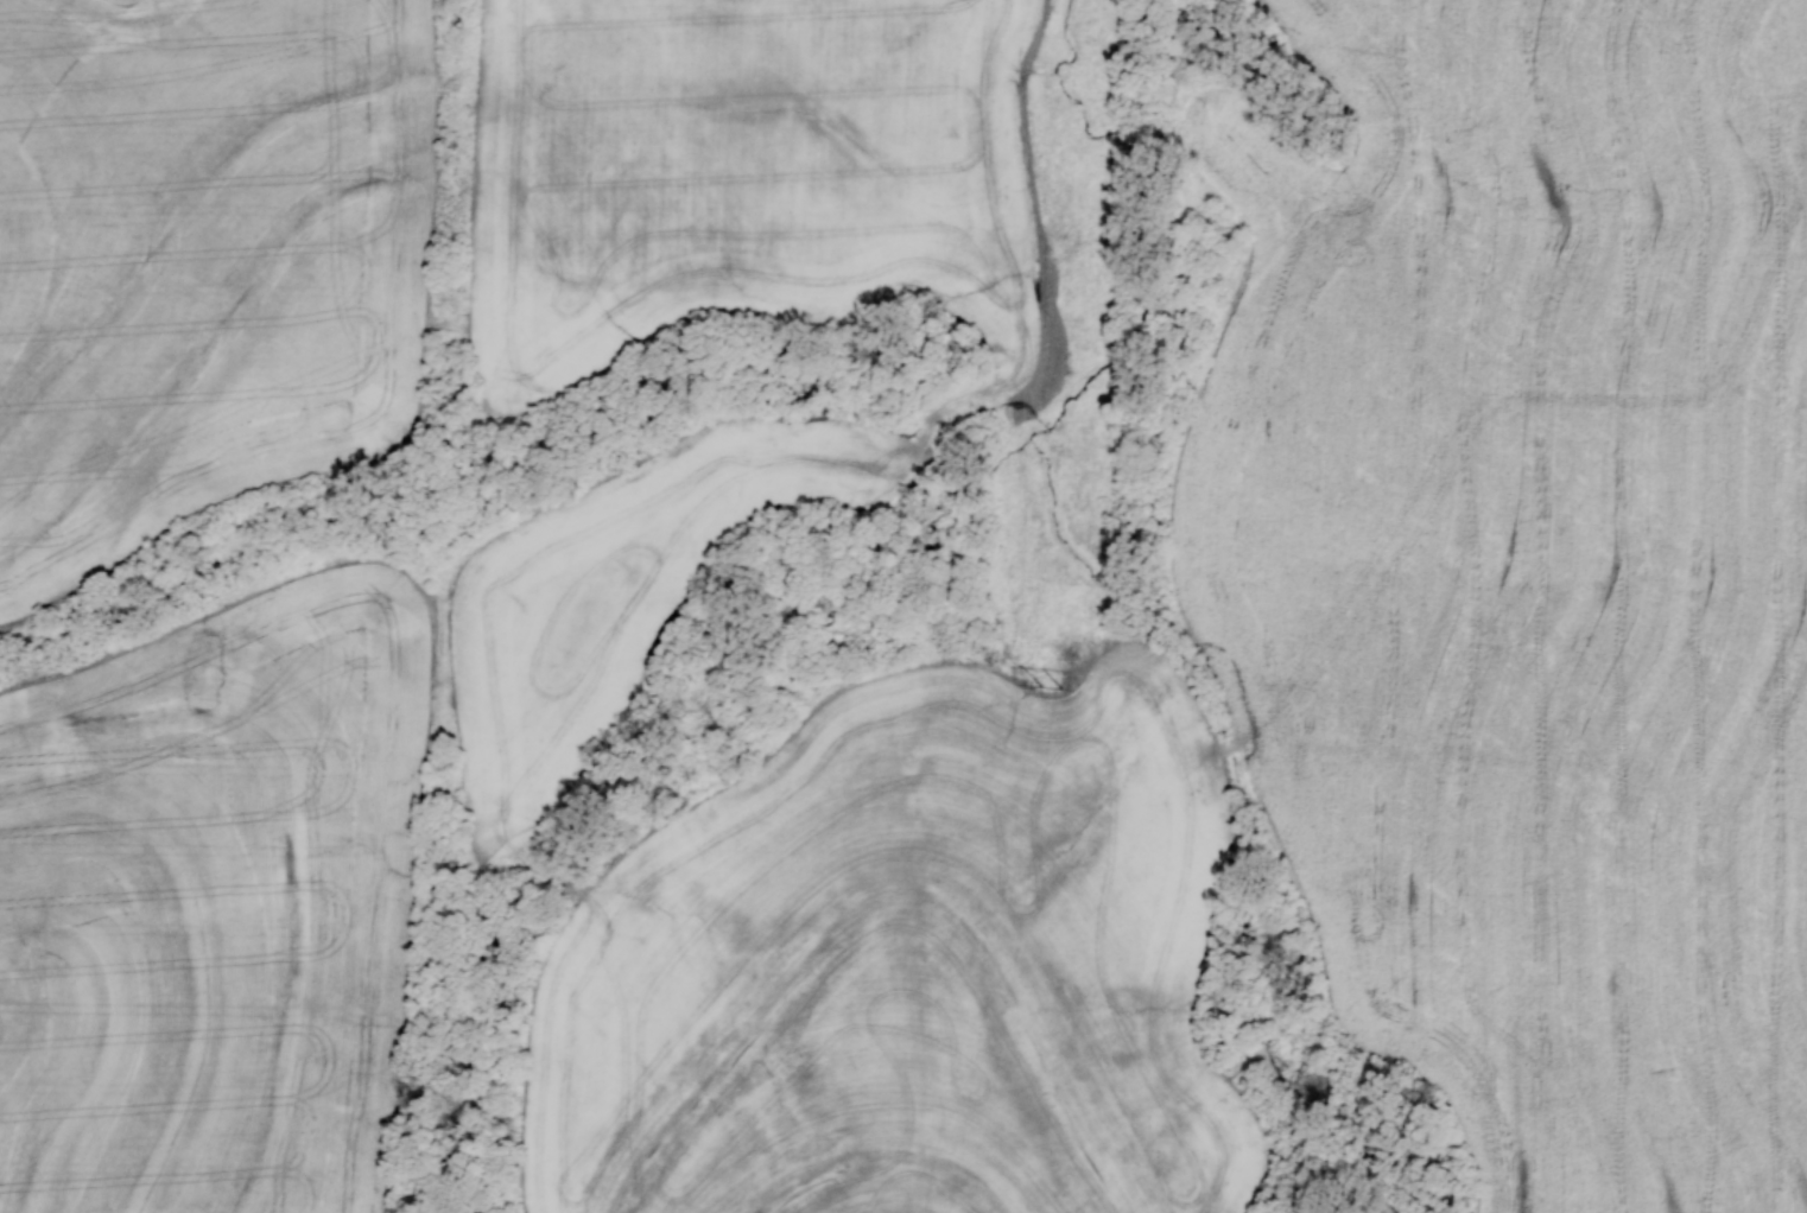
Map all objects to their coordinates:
power tower: (1055, 692)

